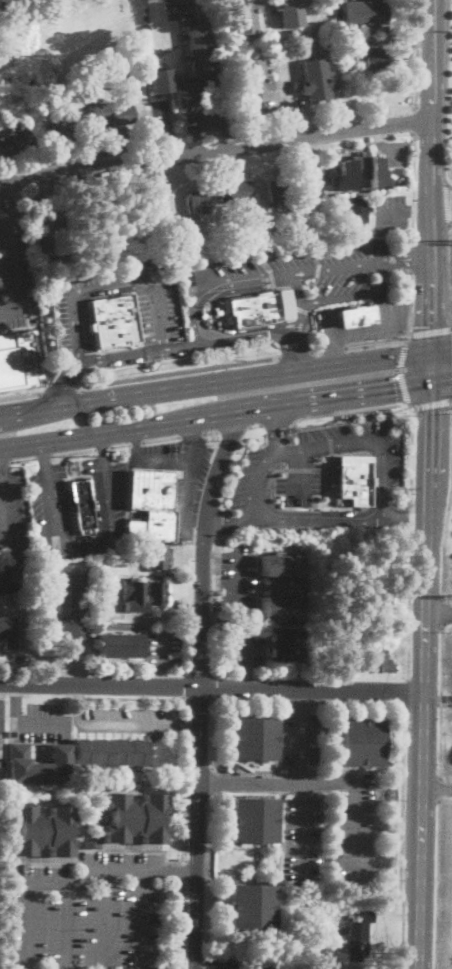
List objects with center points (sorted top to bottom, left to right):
building: (4, 3)
road: (181, 5)
road: (143, 6)
parking lot: (181, 8)
parking lot: (141, 10)
building: (290, 11)
building: (366, 13)
building: (244, 15)
road: (0, 41)
building: (349, 41)
building: (199, 47)
power tower: (45, 49)
road: (417, 54)
building: (371, 58)
road: (292, 64)
building: (254, 80)
building: (317, 80)
road: (447, 94)
road: (433, 108)
building: (94, 116)
road: (415, 120)
building: (15, 142)
road: (216, 150)
road: (311, 158)
building: (362, 172)
road: (412, 188)
building: (280, 191)
road: (8, 192)
building: (236, 192)
building: (152, 196)
road: (441, 197)
road: (447, 203)
building: (197, 204)
road: (420, 212)
parking lot: (390, 214)
road: (393, 214)
building: (359, 215)
building: (312, 231)
power tower: (451, 240)
road: (411, 254)
road: (410, 257)
road: (388, 261)
parking lot: (13, 262)
road: (411, 263)
road: (17, 265)
road: (446, 272)
road: (262, 273)
road: (114, 281)
road: (425, 284)
road: (439, 284)
road: (220, 287)
building: (189, 288)
road: (88, 295)
road: (353, 296)
road: (409, 301)
road: (300, 304)
building: (260, 307)
building: (352, 314)
road: (413, 316)
road: (215, 318)
building: (114, 321)
parking lot: (363, 324)
road: (370, 326)
traffic signals: (425, 326)
road: (430, 331)
road: (380, 343)
road: (187, 345)
road: (334, 347)
road: (335, 350)
road: (316, 352)
road: (294, 354)
road: (295, 355)
building: (19, 359)
road: (431, 367)
road: (179, 372)
road: (400, 372)
road: (66, 381)
road: (225, 381)
road: (441, 381)
traffic signals: (396, 389)
road: (60, 391)
road: (20, 396)
road: (430, 402)
road: (347, 410)
traffic signals: (431, 411)
road: (215, 415)
road: (275, 422)
road: (307, 425)
road: (255, 426)
road: (192, 429)
road: (233, 429)
road: (275, 430)
road: (211, 433)
road: (192, 435)
road: (330, 436)
road: (161, 438)
road: (367, 440)
road: (136, 442)
road: (102, 444)
road: (119, 444)
road: (136, 444)
road: (103, 447)
road: (74, 451)
road: (208, 452)
road: (429, 452)
road: (43, 453)
road: (411, 453)
road: (44, 455)
road: (24, 459)
road: (5, 461)
road: (165, 462)
road: (1, 466)
road: (300, 471)
road: (326, 471)
parking lot: (315, 476)
road: (1, 478)
building: (352, 478)
road: (1, 479)
road: (255, 481)
road: (190, 486)
building: (83, 504)
building: (153, 505)
road: (327, 513)
road: (319, 518)
road: (229, 520)
road: (406, 520)
road: (411, 520)
road: (9, 532)
road: (103, 533)
road: (195, 533)
road: (445, 544)
road: (87, 549)
building: (47, 550)
building: (50, 559)
building: (157, 559)
road: (427, 563)
building: (281, 566)
road: (238, 580)
building: (141, 594)
power tower: (446, 595)
building: (383, 596)
road: (221, 605)
building: (281, 606)
road: (409, 608)
road: (438, 610)
road: (443, 611)
building: (72, 612)
road: (142, 616)
building: (10, 633)
building: (116, 643)
building: (282, 643)
parking lot: (245, 645)
road: (246, 645)
parking lot: (163, 646)
road: (162, 648)
building: (379, 660)
road: (162, 677)
road: (245, 677)
road: (200, 686)
road: (212, 689)
road: (405, 694)
road: (200, 702)
road: (248, 702)
road: (442, 702)
road: (300, 703)
road: (360, 704)
road: (16, 705)
road: (80, 707)
parking lot: (131, 719)
parking lot: (41, 722)
road: (134, 723)
road: (43, 725)
road: (189, 726)
road: (190, 727)
parking lot: (2, 735)
building: (252, 738)
road: (281, 739)
building: (360, 742)
building: (110, 752)
building: (39, 764)
road: (278, 781)
road: (281, 785)
road: (303, 785)
road: (423, 787)
road: (441, 788)
road: (437, 790)
parking lot: (325, 811)
building: (134, 818)
building: (253, 820)
building: (41, 831)
road: (358, 831)
road: (400, 839)
building: (91, 844)
road: (282, 851)
road: (129, 869)
road: (175, 870)
road: (186, 873)
road: (439, 883)
road: (31, 884)
building: (248, 905)
parking lot: (89, 913)
road: (106, 919)
road: (144, 919)
road: (68, 927)
road: (185, 927)
building: (357, 935)
road: (211, 957)
road: (226, 963)
building: (265, 963)

